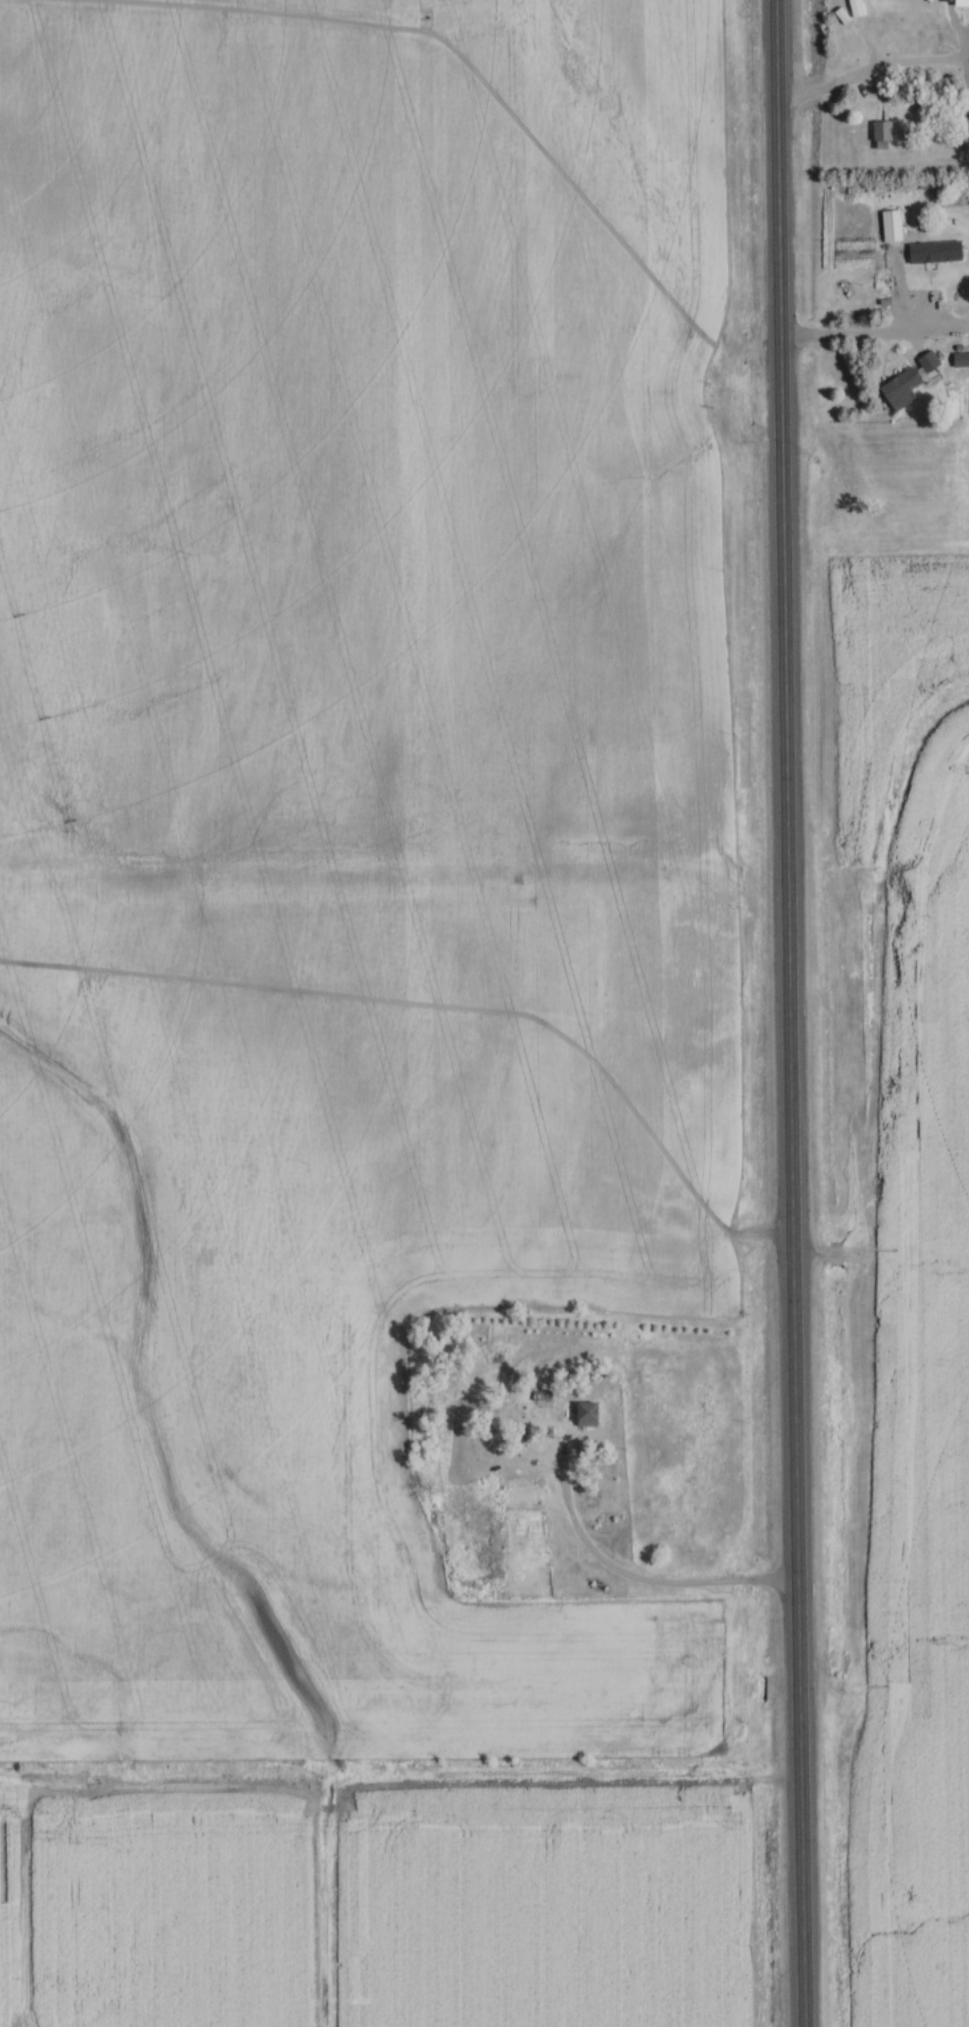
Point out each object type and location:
building: (960, 3)
road: (826, 92)
building: (966, 128)
building: (879, 130)
building: (888, 225)
building: (932, 251)
road: (847, 337)
building: (959, 359)
building: (907, 379)
road: (787, 1013)
building: (539, 1399)
building: (585, 1414)
building: (524, 1497)
road: (634, 1585)

